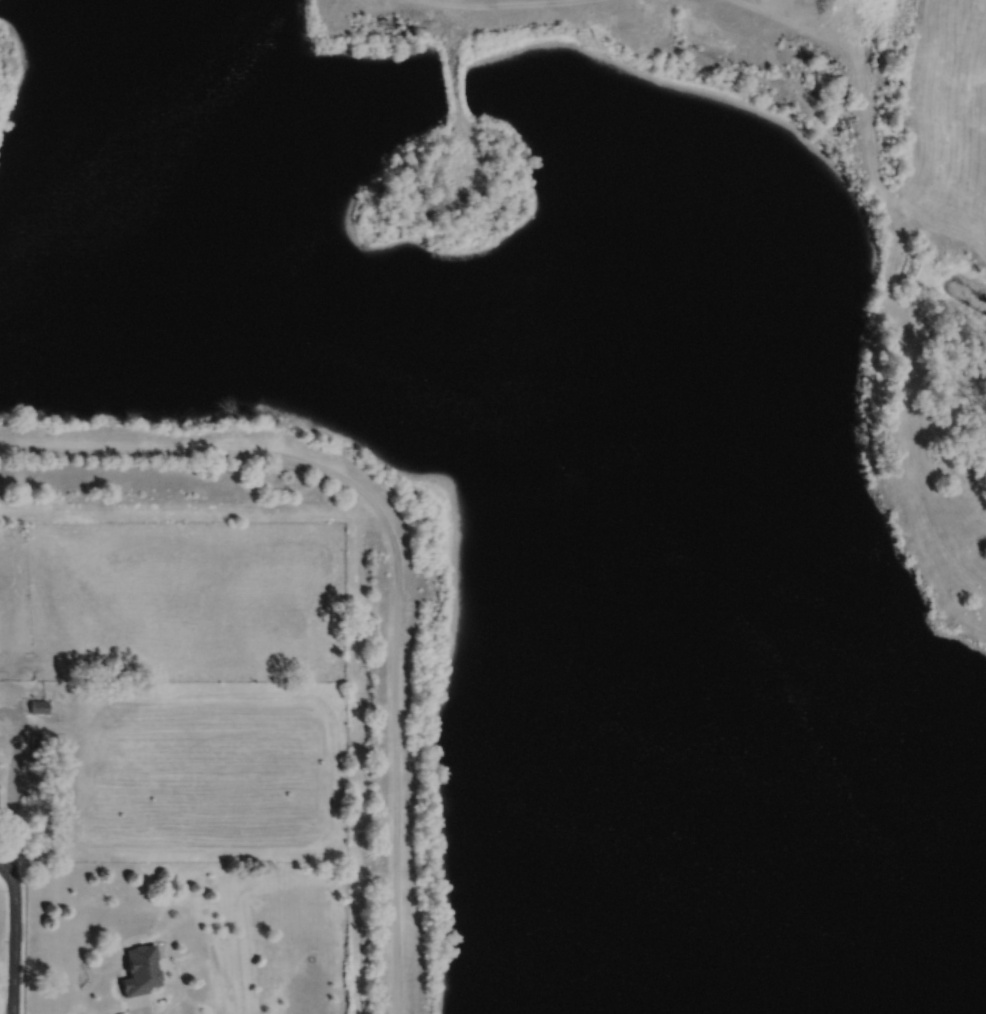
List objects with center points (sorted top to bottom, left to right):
road: (498, 4)
road: (455, 102)
road: (865, 117)
road: (395, 562)
building: (39, 706)
building: (35, 739)
building: (37, 753)
road: (14, 782)
road: (1, 864)
road: (13, 938)
building: (139, 969)
road: (147, 1013)

